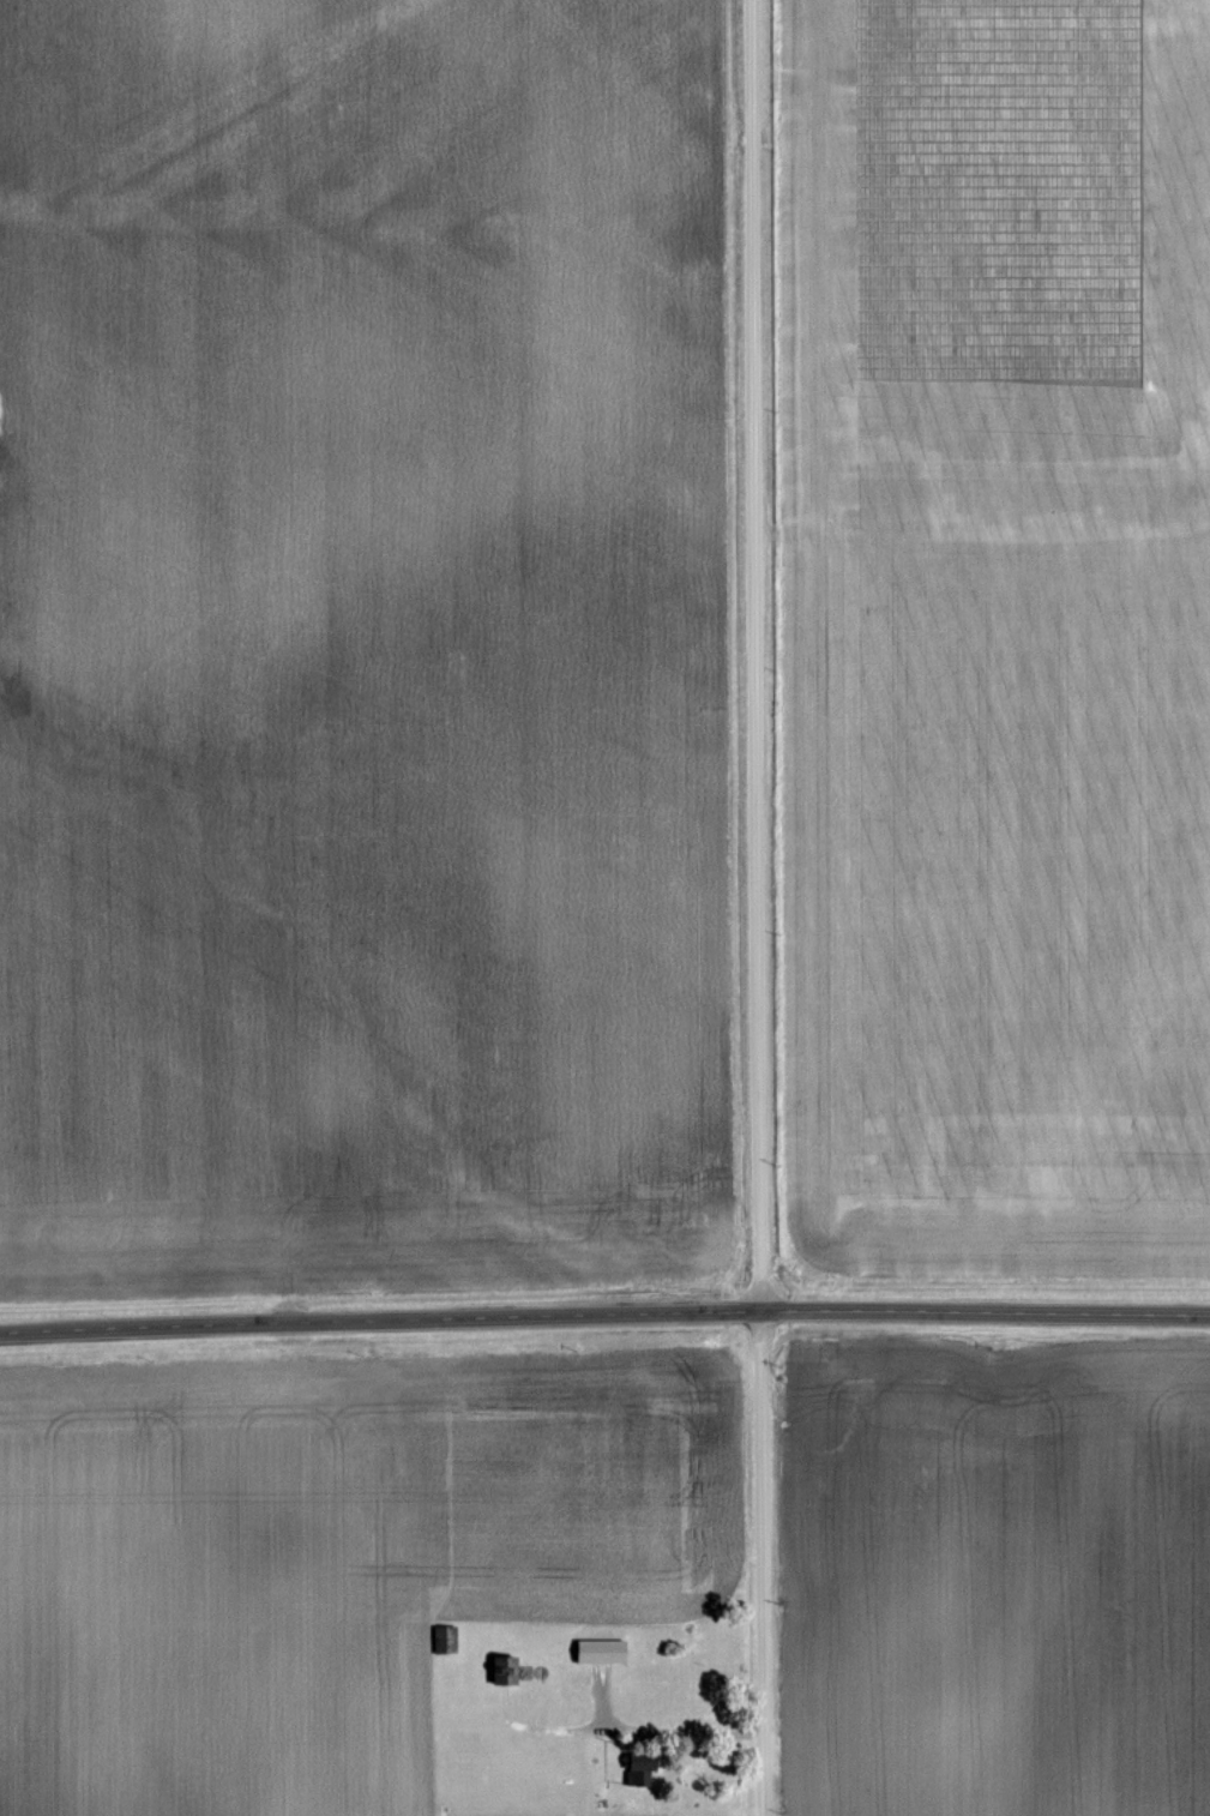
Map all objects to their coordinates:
road: (756, 907)
road: (604, 1309)
building: (604, 1652)
road: (661, 1726)

